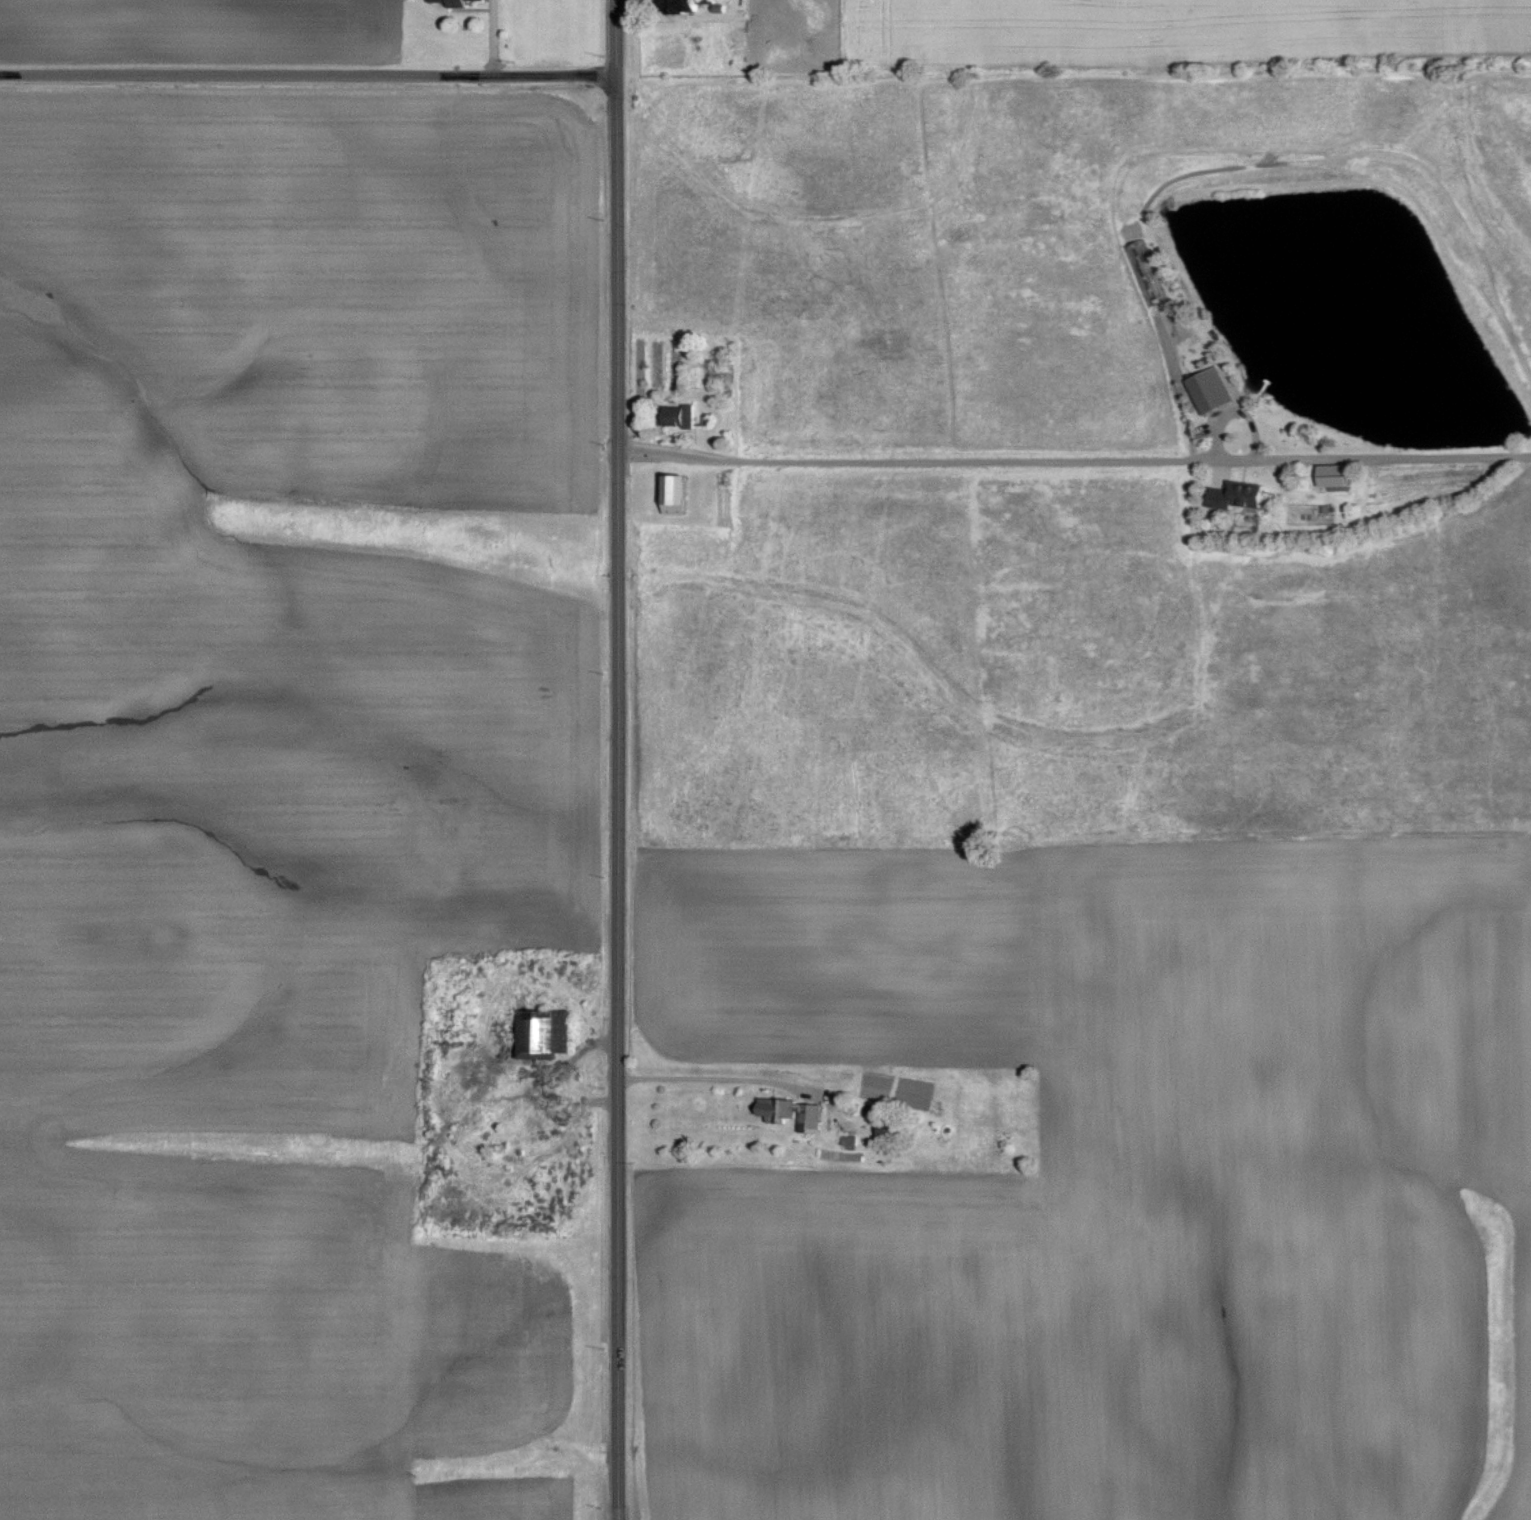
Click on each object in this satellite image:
building: (456, 2)
building: (687, 5)
road: (307, 74)
building: (1211, 390)
building: (678, 415)
road: (997, 459)
building: (678, 492)
building: (1241, 495)
road: (616, 760)
building: (546, 1034)
road: (717, 1076)
road: (547, 1081)
building: (796, 1113)
building: (890, 1132)

